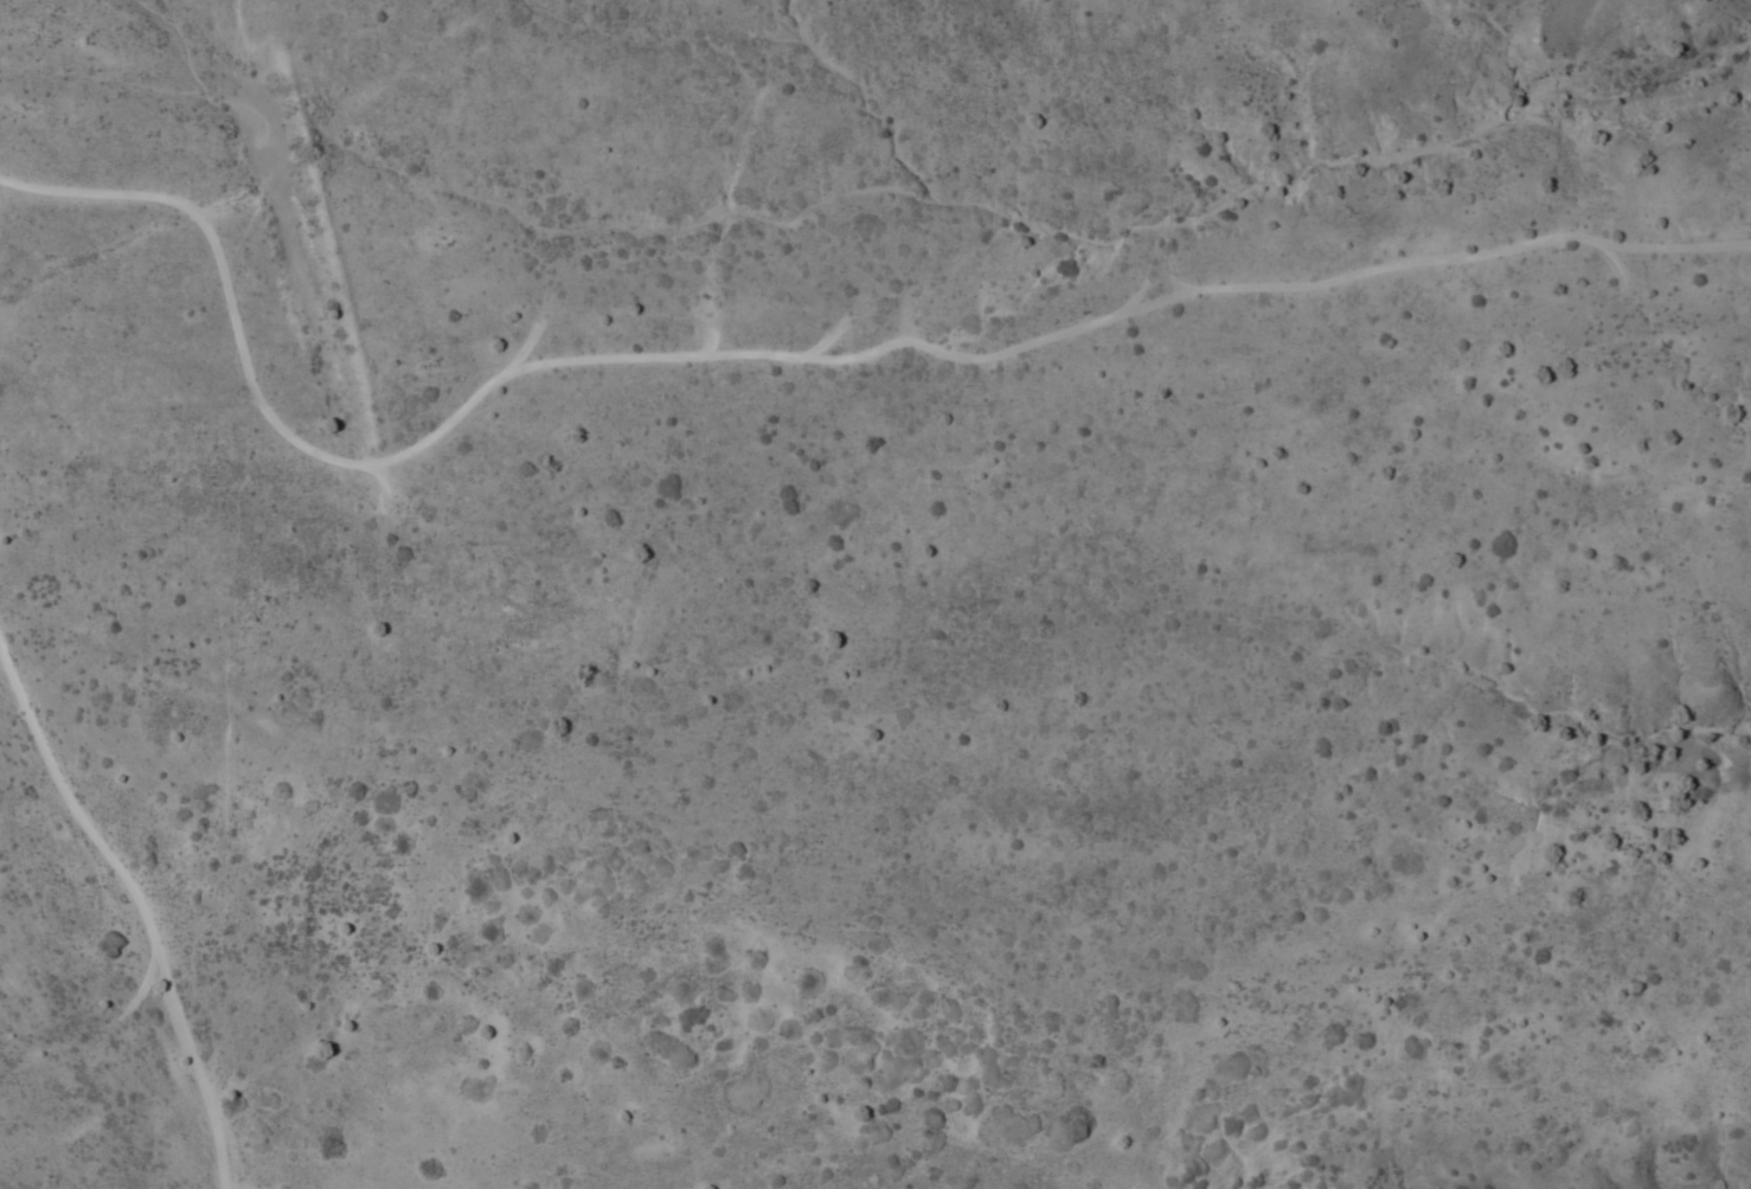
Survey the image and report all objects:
road: (100, 906)

